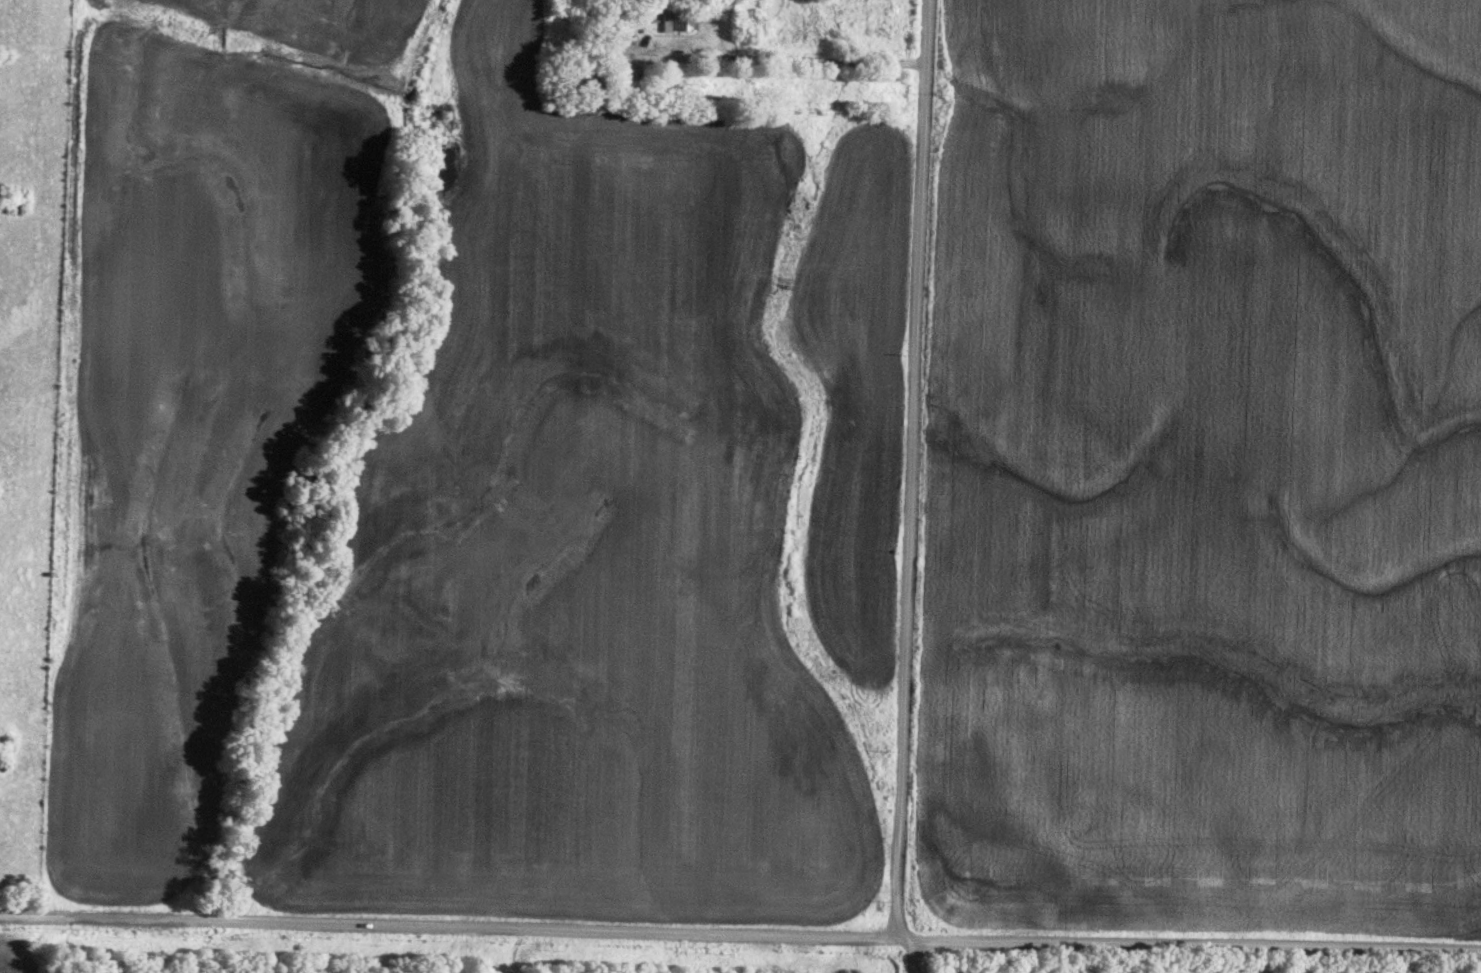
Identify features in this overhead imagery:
building: (673, 20)
road: (781, 59)
road: (913, 467)
road: (458, 923)
road: (1198, 942)
road: (915, 956)

